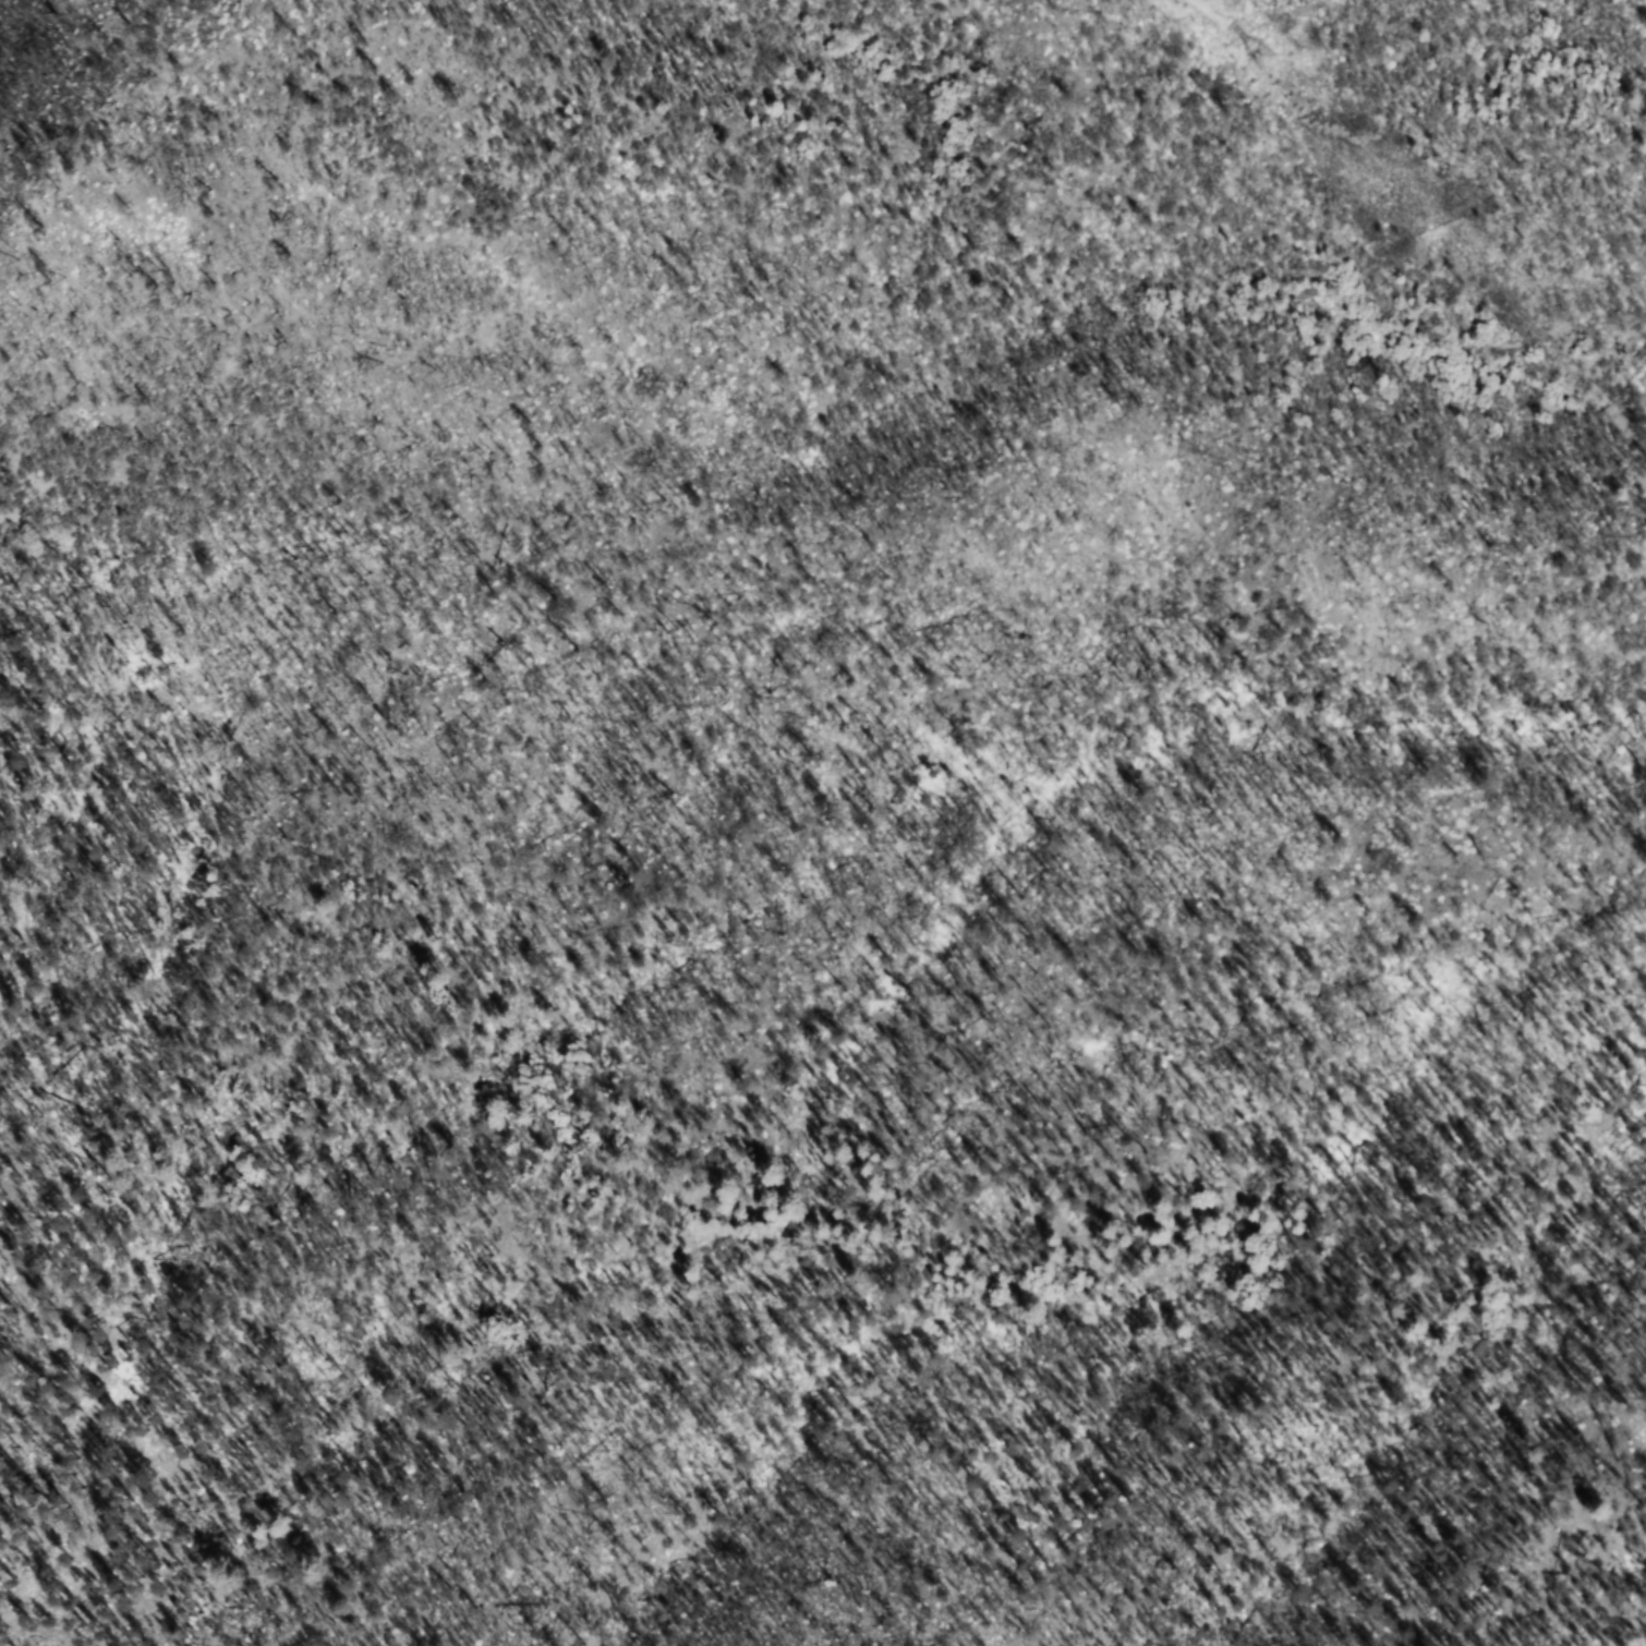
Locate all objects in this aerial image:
power tower: (1264, 57)

